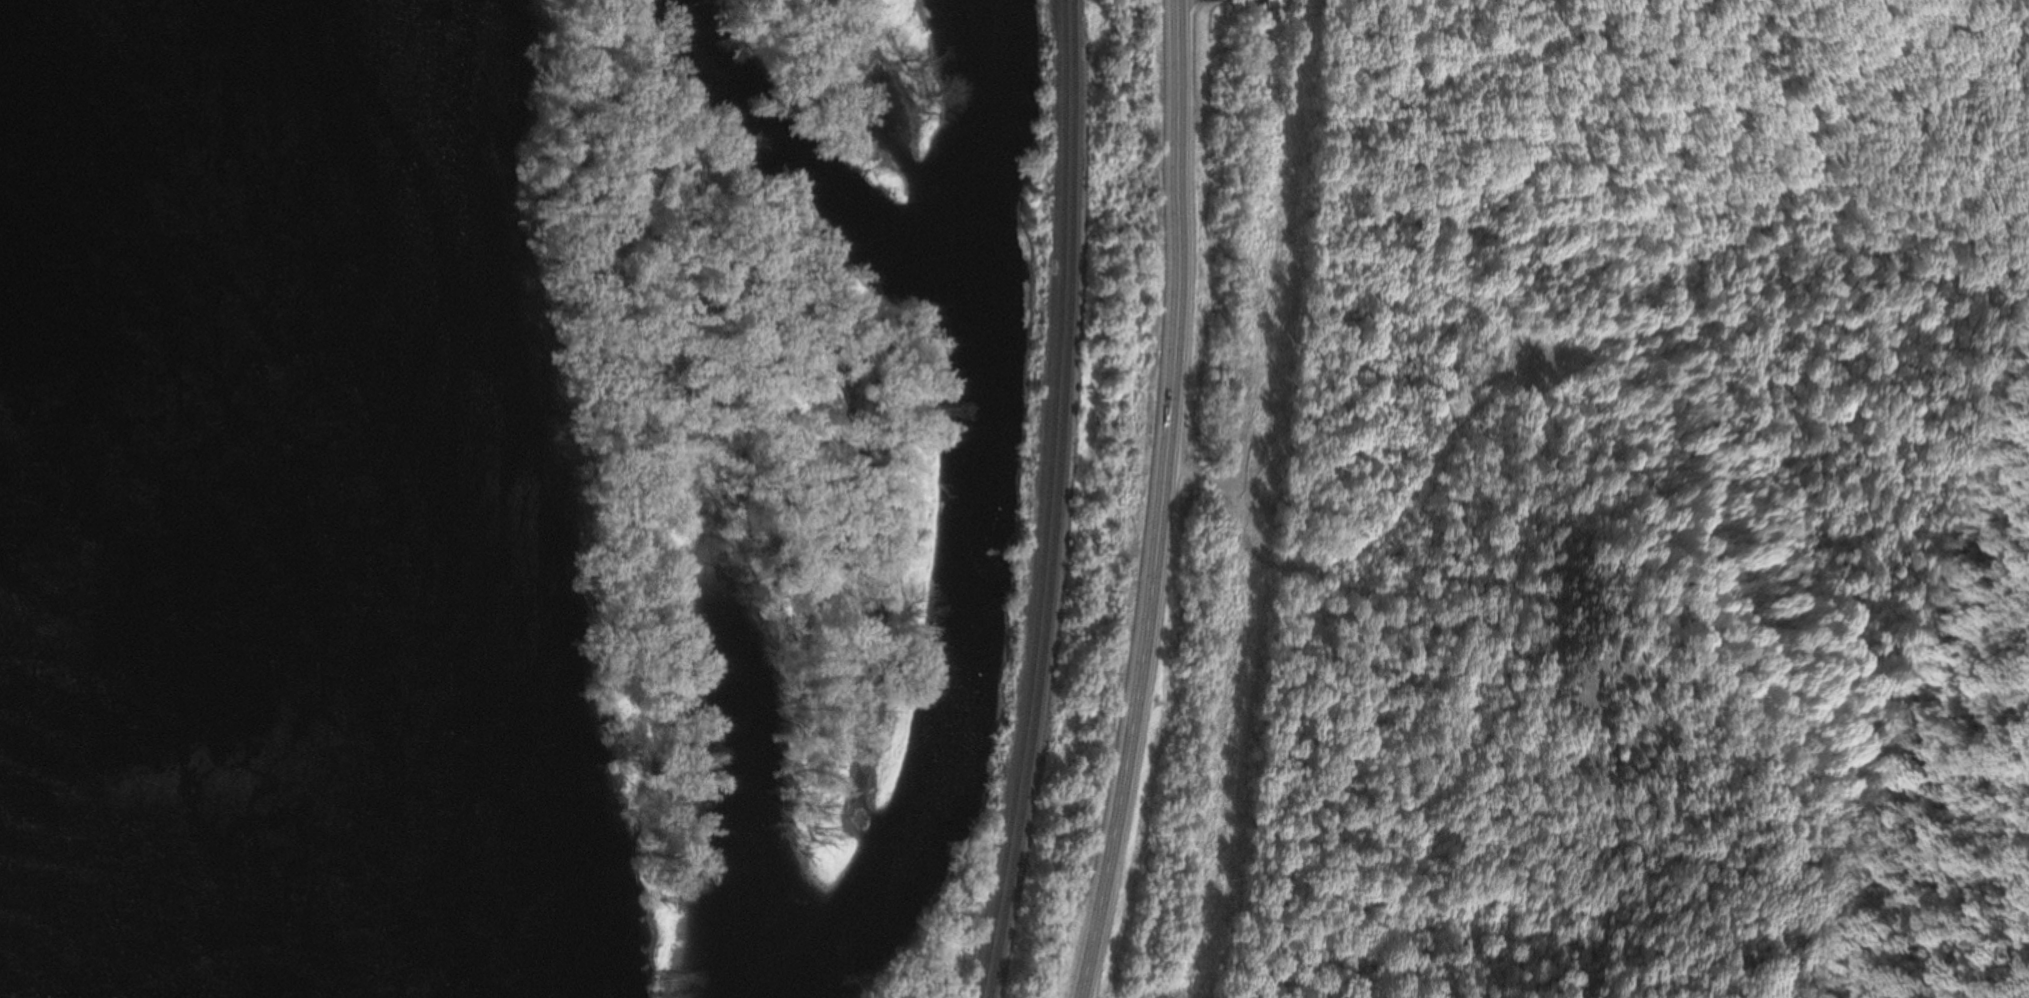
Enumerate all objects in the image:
building: (1278, 3)
river: (289, 498)
railway: (1044, 501)
railway: (1054, 501)
road: (1156, 502)

